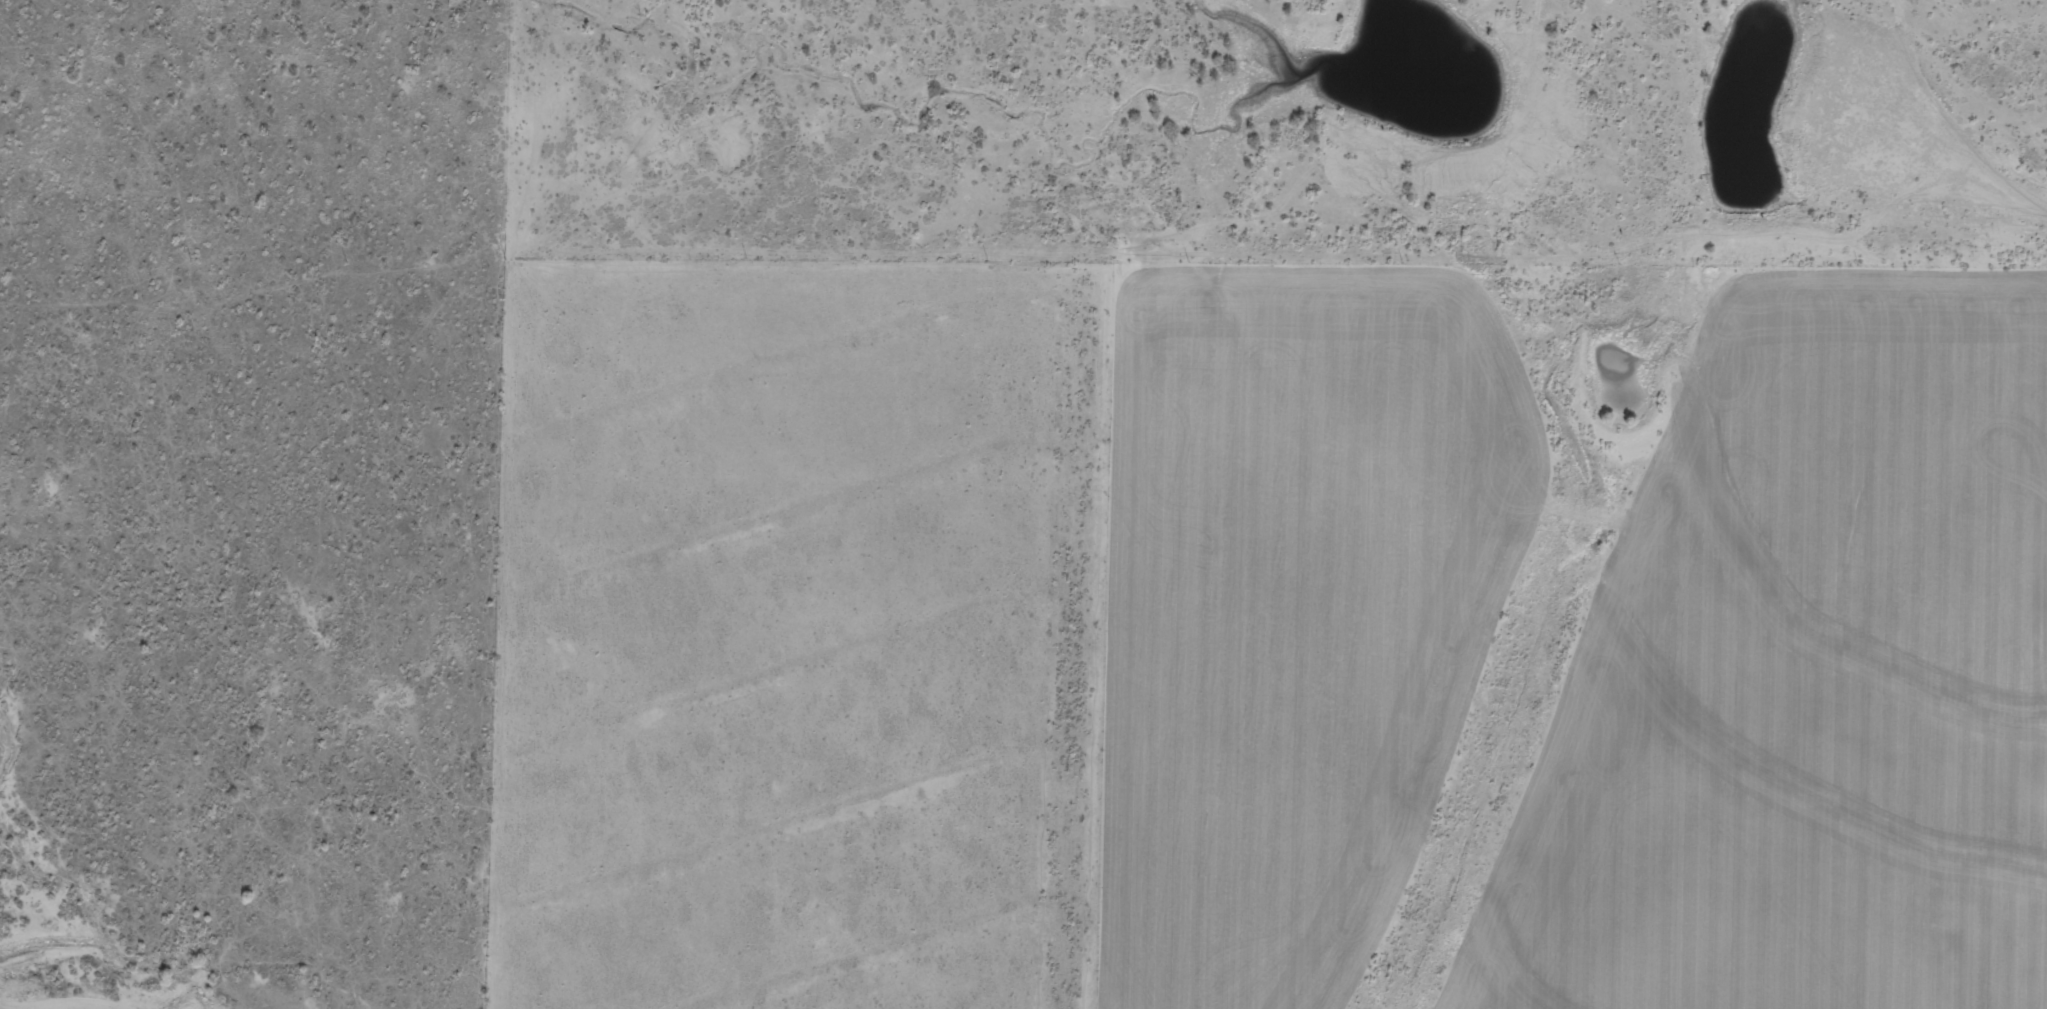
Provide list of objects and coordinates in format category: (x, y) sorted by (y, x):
road: (1889, 64)

